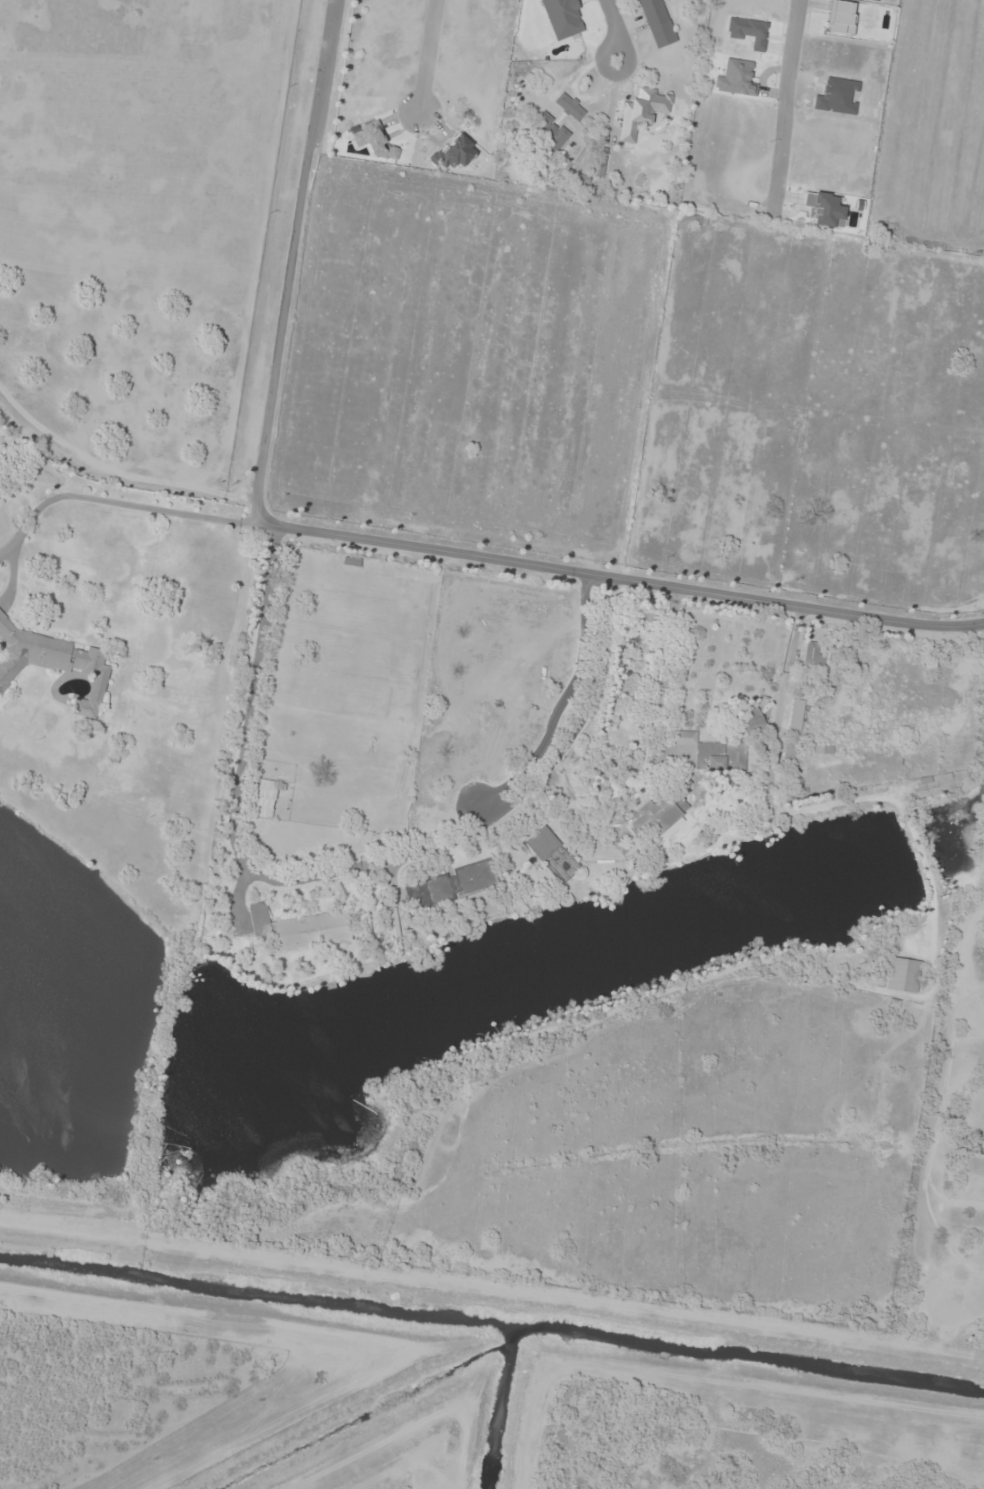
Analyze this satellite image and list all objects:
building: (657, 22)
road: (614, 29)
road: (424, 56)
building: (568, 106)
road: (784, 106)
building: (641, 112)
building: (545, 124)
building: (689, 221)
road: (265, 463)
road: (620, 580)
building: (812, 656)
building: (53, 662)
road: (787, 674)
building: (750, 722)
building: (793, 734)
building: (683, 738)
building: (729, 758)
building: (263, 798)
building: (423, 816)
building: (656, 816)
building: (551, 855)
building: (450, 884)
building: (309, 931)
building: (901, 975)
park: (947, 1181)

